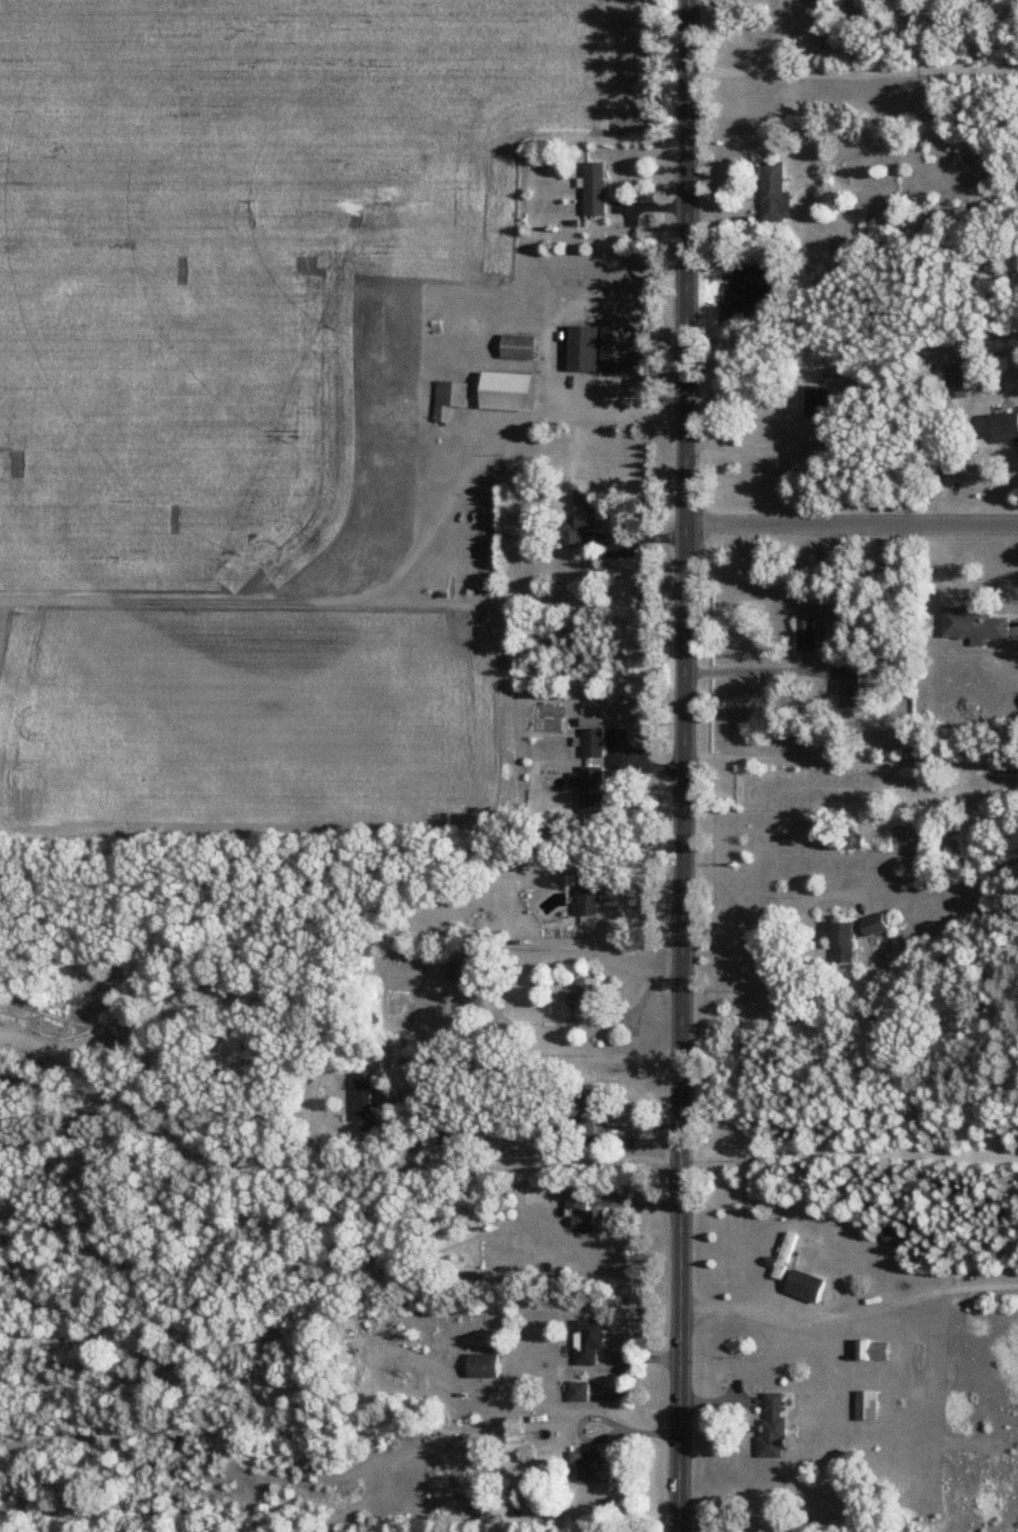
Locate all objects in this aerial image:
road: (852, 74)
building: (595, 189)
building: (774, 194)
building: (887, 214)
building: (519, 348)
building: (600, 350)
building: (507, 393)
building: (449, 400)
road: (615, 403)
building: (816, 403)
building: (1006, 429)
road: (750, 448)
road: (851, 521)
building: (577, 522)
road: (629, 537)
building: (973, 627)
building: (805, 636)
road: (751, 671)
building: (848, 688)
building: (592, 744)
road: (850, 763)
road: (682, 765)
building: (589, 789)
building: (845, 837)
building: (588, 894)
road: (770, 919)
building: (875, 927)
building: (844, 944)
building: (466, 973)
building: (585, 1002)
road: (536, 1059)
building: (363, 1100)
building: (587, 1114)
building: (451, 1135)
road: (849, 1157)
road: (320, 1171)
building: (583, 1213)
building: (890, 1236)
building: (784, 1259)
building: (804, 1287)
road: (850, 1314)
building: (588, 1341)
building: (872, 1351)
building: (483, 1366)
building: (578, 1392)
building: (865, 1406)
building: (772, 1428)
building: (592, 1467)

